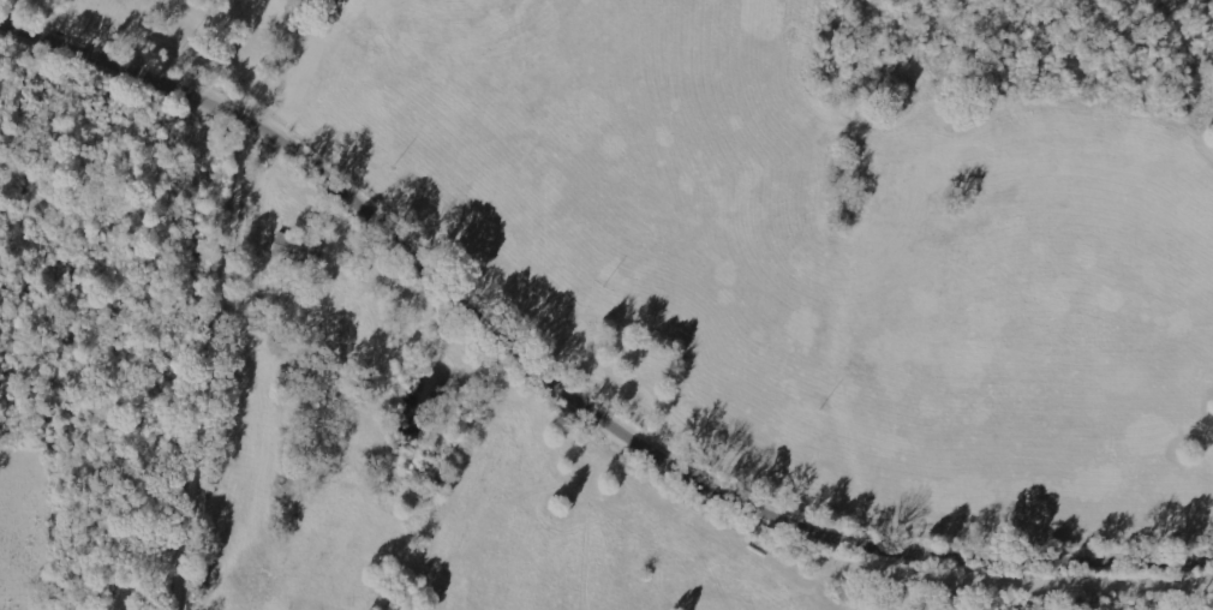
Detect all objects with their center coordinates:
road: (220, 369)
road: (568, 394)

